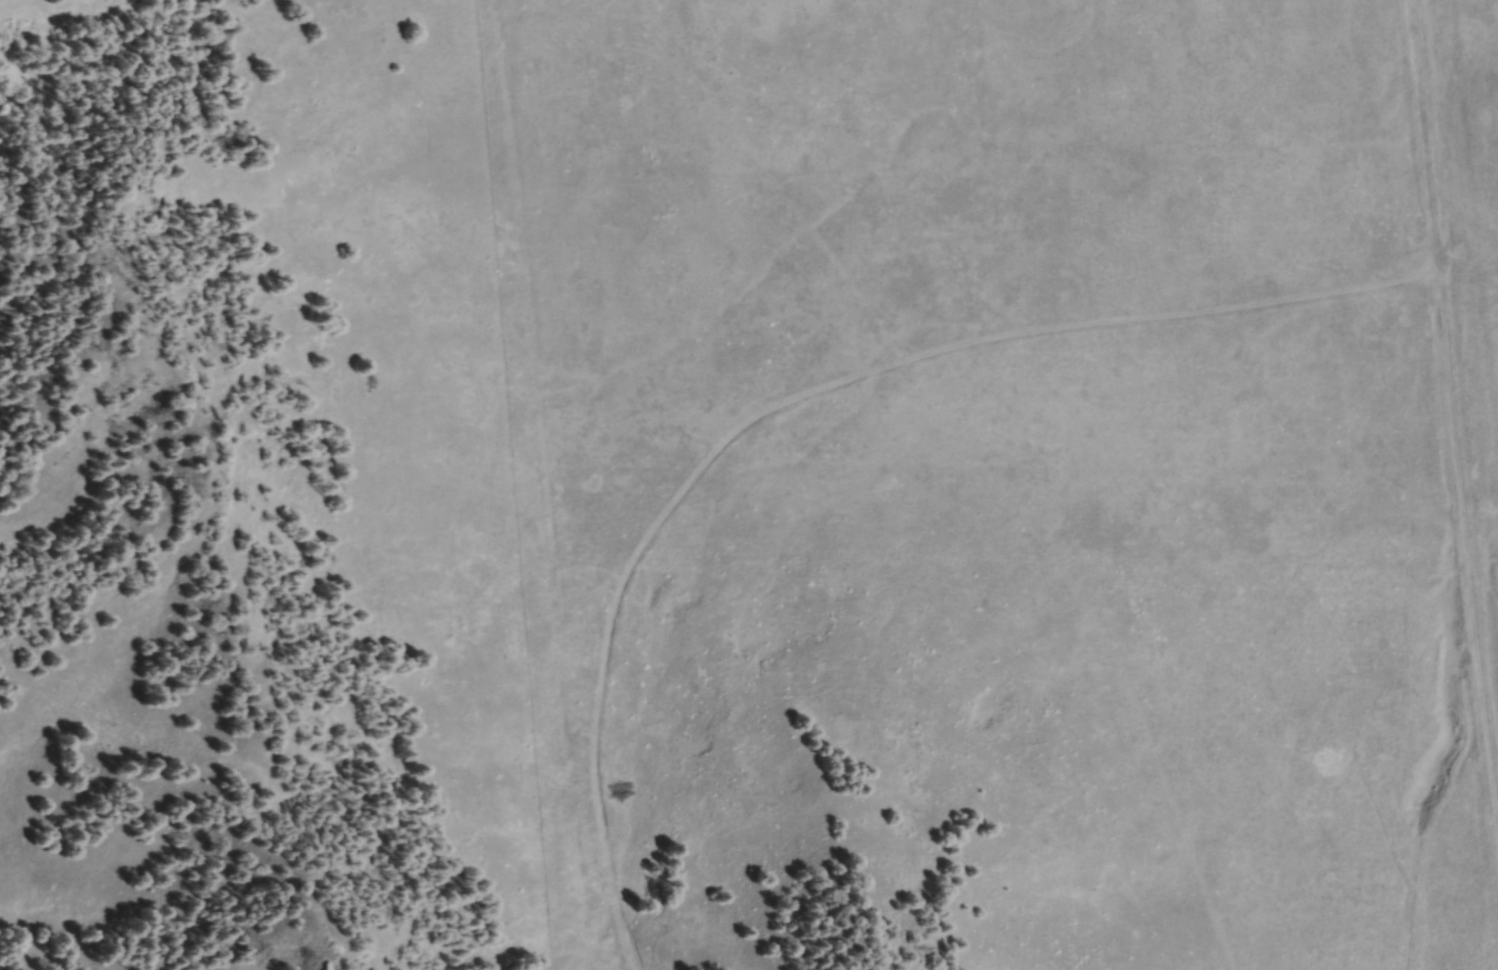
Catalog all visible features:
road: (1453, 400)

